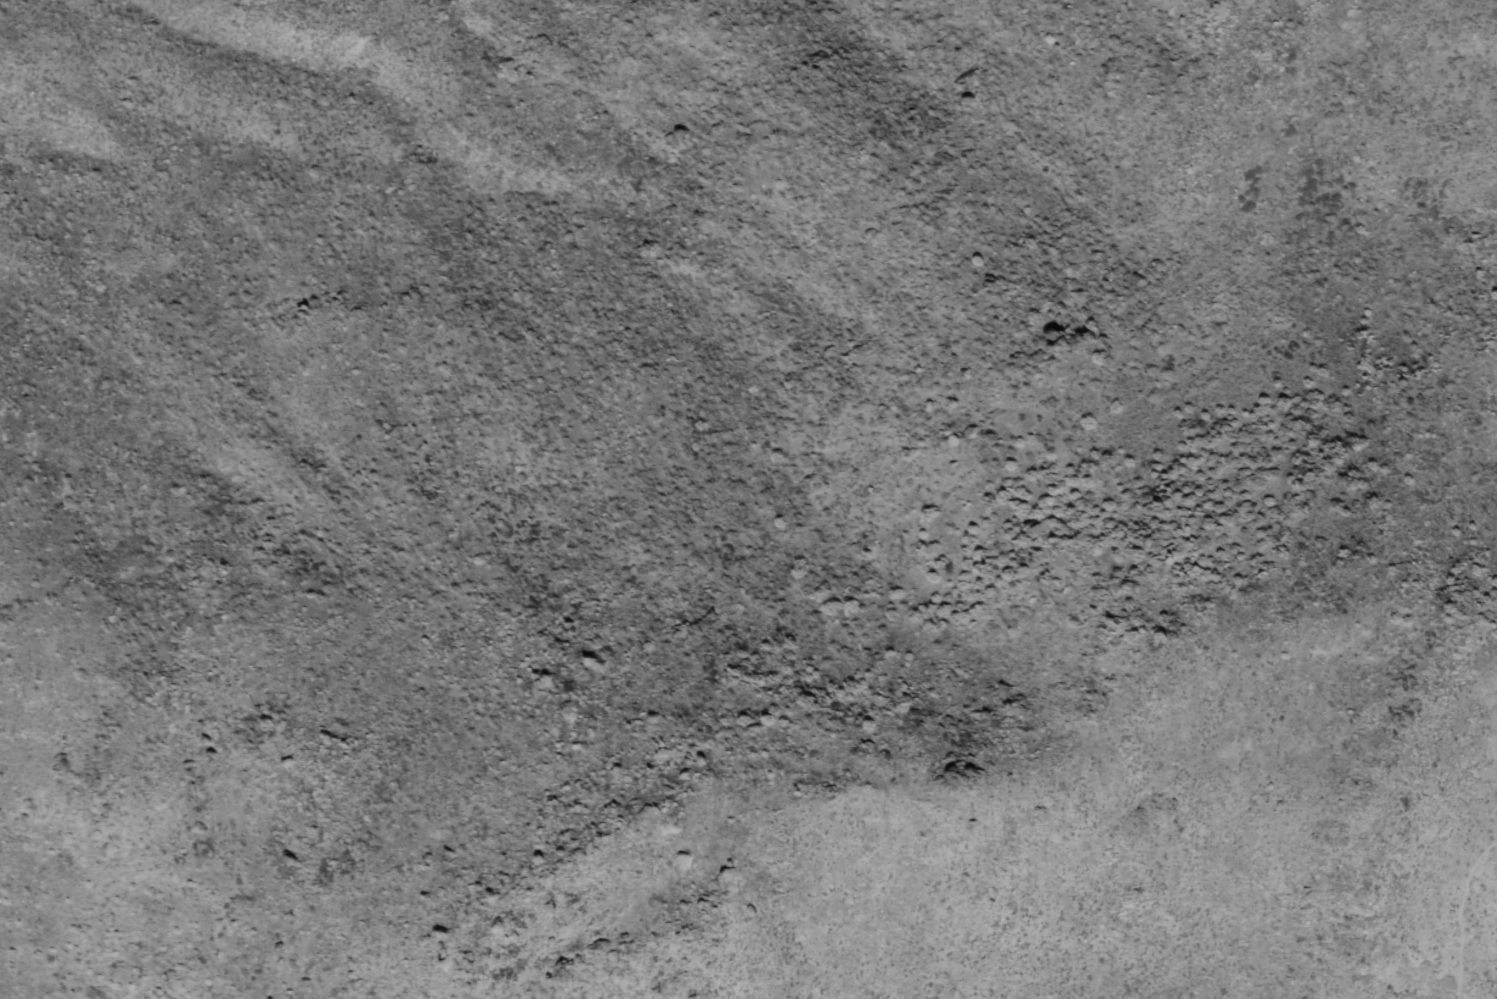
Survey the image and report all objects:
road: (1462, 918)

